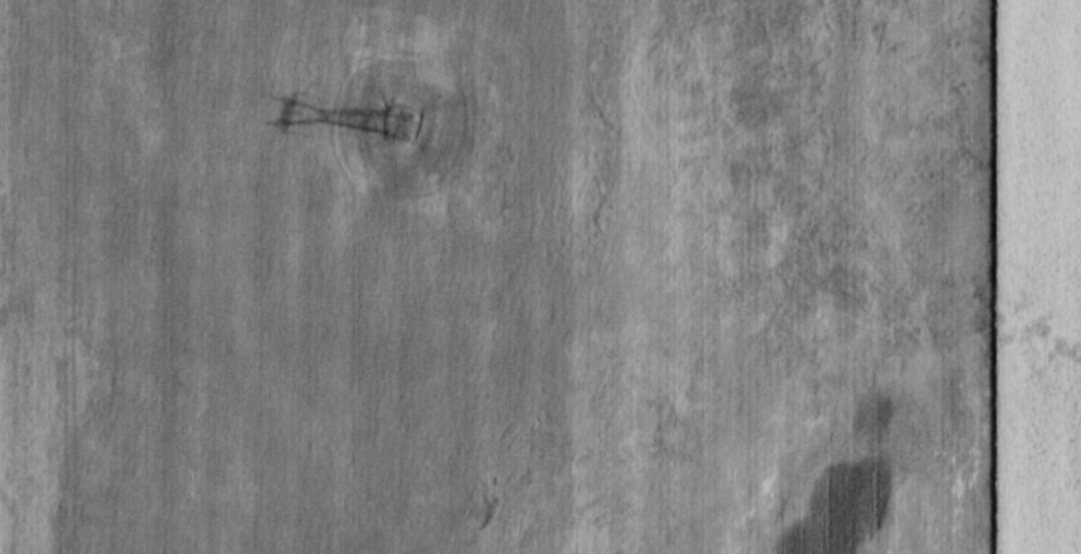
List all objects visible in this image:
power tower: (400, 127)

